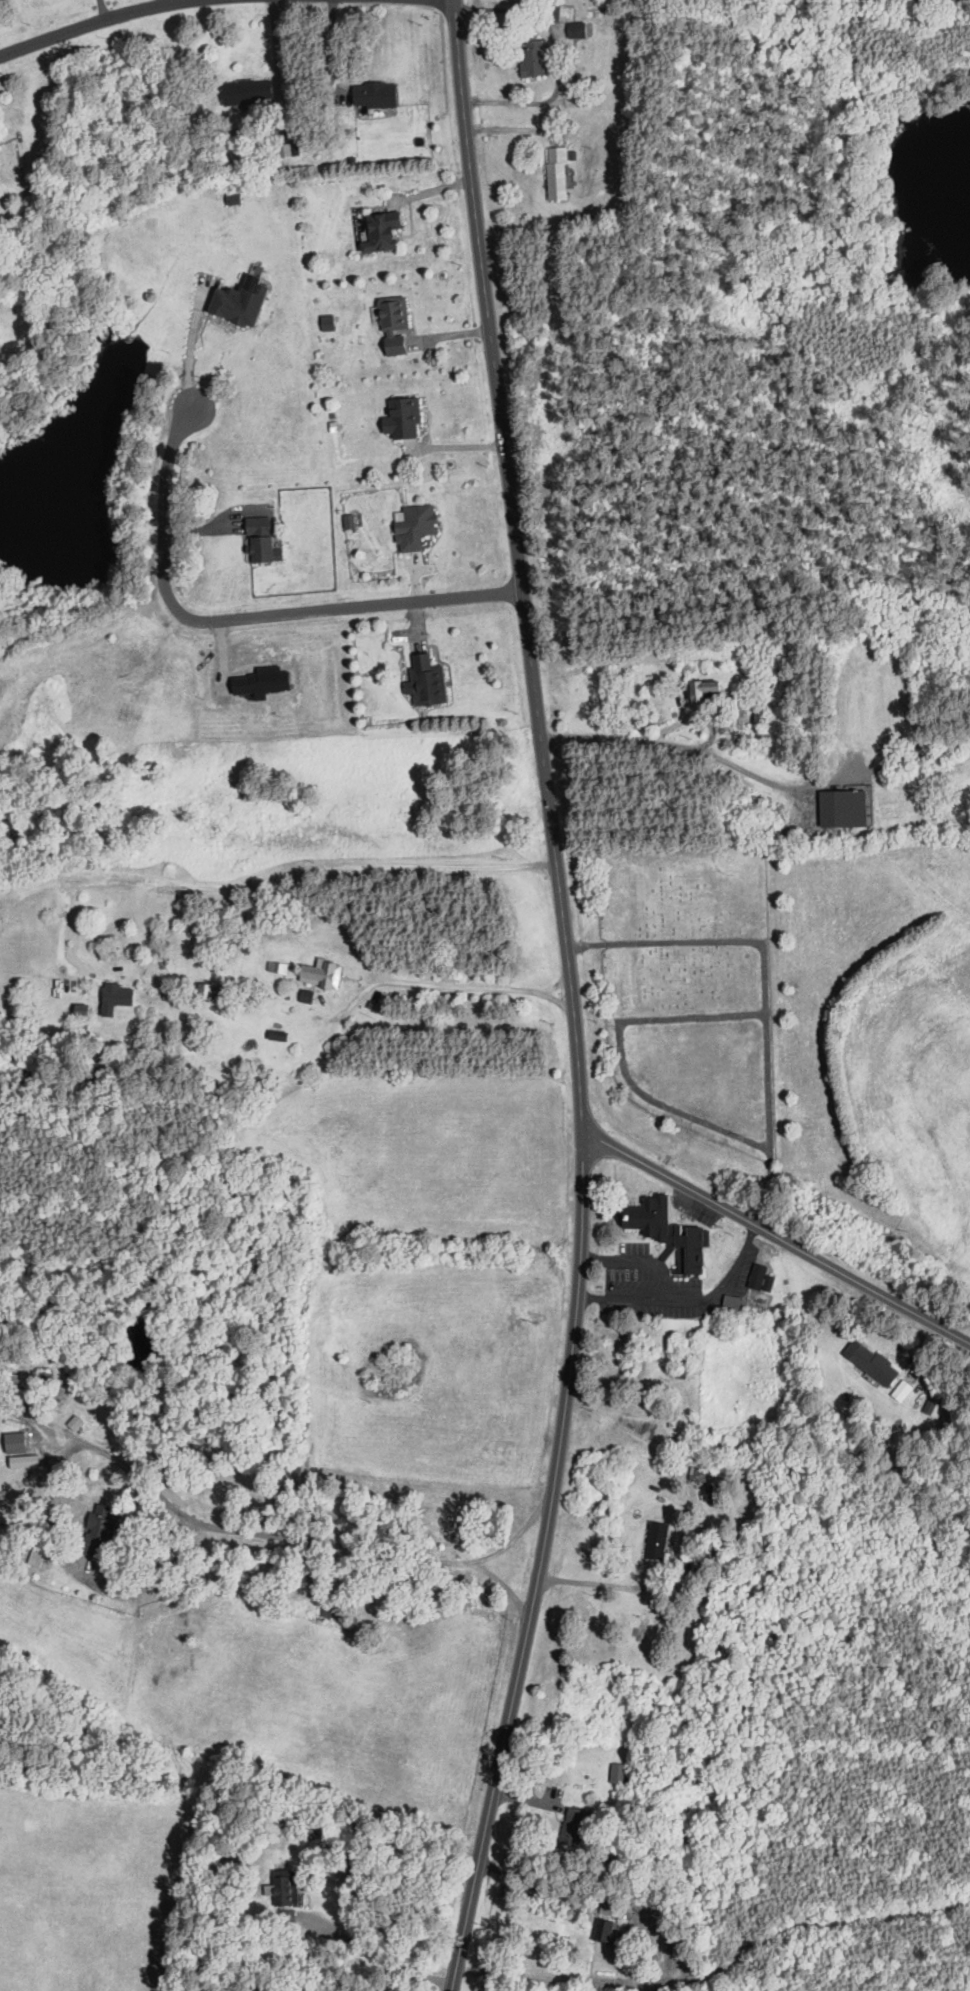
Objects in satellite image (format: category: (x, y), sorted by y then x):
road: (162, 2)
building: (553, 12)
road: (91, 22)
building: (576, 30)
building: (531, 54)
building: (246, 91)
building: (374, 94)
building: (575, 102)
building: (556, 172)
building: (381, 231)
building: (237, 304)
building: (393, 323)
road: (191, 348)
building: (404, 417)
building: (257, 525)
building: (413, 526)
building: (260, 549)
road: (243, 618)
building: (426, 681)
building: (699, 693)
building: (760, 717)
road: (680, 747)
road: (892, 765)
building: (833, 809)
building: (275, 925)
road: (285, 950)
building: (191, 962)
building: (278, 968)
building: (319, 974)
building: (205, 991)
park: (685, 991)
building: (115, 997)
road: (571, 998)
building: (19, 1003)
building: (80, 1012)
building: (667, 1233)
road: (776, 1237)
road: (623, 1297)
road: (677, 1298)
building: (871, 1363)
building: (26, 1387)
building: (931, 1409)
building: (14, 1443)
building: (701, 1474)
building: (100, 1530)
road: (517, 1532)
road: (257, 1533)
building: (655, 1541)
road: (589, 1575)
building: (617, 1773)
building: (573, 1826)
road: (530, 1884)
building: (285, 1889)
building: (612, 1910)
building: (602, 1930)
road: (382, 1959)

